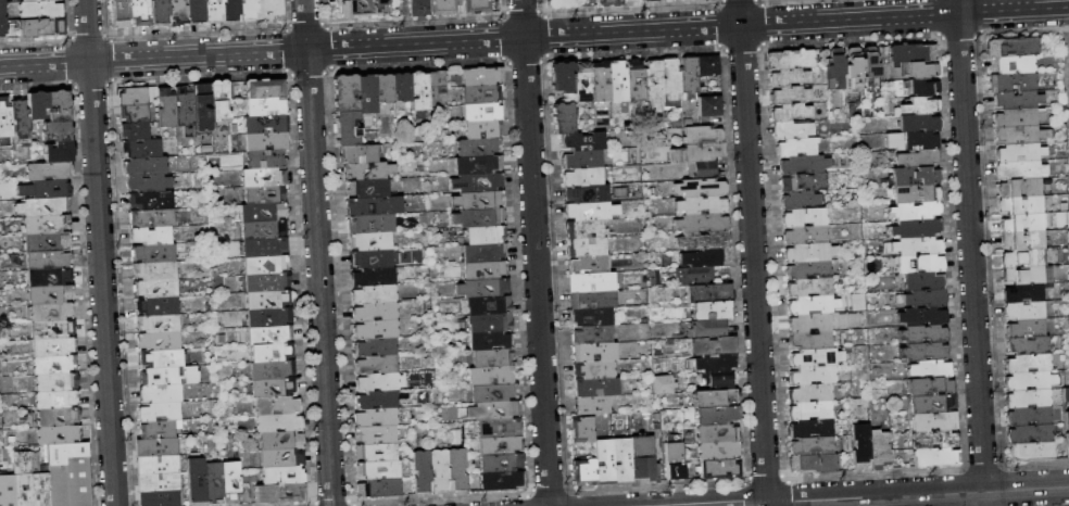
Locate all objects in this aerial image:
building: (39, 0)
building: (631, 0)
building: (687, 0)
building: (651, 1)
building: (705, 1)
road: (739, 1)
road: (758, 1)
road: (778, 1)
building: (608, 2)
road: (718, 2)
building: (559, 4)
building: (478, 7)
road: (956, 7)
building: (271, 8)
building: (363, 8)
building: (419, 8)
building: (443, 8)
road: (630, 9)
building: (40, 10)
road: (1013, 10)
building: (214, 11)
building: (232, 11)
building: (250, 11)
building: (162, 12)
building: (198, 12)
road: (521, 12)
road: (541, 12)
building: (141, 13)
building: (179, 13)
road: (501, 13)
building: (122, 14)
road: (979, 15)
road: (936, 16)
building: (3, 18)
road: (403, 21)
road: (413, 21)
road: (762, 23)
road: (304, 25)
road: (324, 26)
road: (719, 26)
road: (284, 27)
building: (42, 28)
road: (196, 34)
road: (939, 35)
road: (979, 35)
road: (544, 36)
road: (958, 36)
road: (1067, 36)
road: (87, 38)
road: (106, 38)
road: (502, 38)
road: (66, 39)
road: (478, 39)
road: (850, 39)
road: (33, 42)
road: (760, 46)
road: (328, 48)
road: (721, 48)
road: (741, 48)
building: (1014, 48)
road: (285, 51)
road: (633, 52)
building: (913, 53)
road: (544, 59)
building: (791, 60)
road: (110, 61)
road: (504, 61)
road: (525, 61)
building: (871, 62)
road: (67, 63)
road: (416, 64)
building: (1013, 65)
building: (708, 66)
building: (837, 67)
road: (327, 71)
building: (922, 71)
road: (306, 72)
building: (854, 72)
road: (287, 73)
building: (483, 76)
road: (199, 77)
building: (562, 77)
building: (689, 77)
building: (789, 77)
building: (602, 81)
building: (618, 81)
building: (636, 81)
road: (110, 83)
building: (671, 83)
building: (1014, 83)
road: (70, 85)
road: (89, 85)
building: (654, 85)
road: (34, 86)
building: (584, 86)
building: (402, 87)
building: (385, 88)
building: (922, 88)
building: (265, 89)
building: (437, 89)
building: (419, 91)
building: (345, 93)
building: (367, 94)
building: (482, 94)
building: (790, 96)
building: (134, 97)
building: (1018, 100)
building: (219, 103)
building: (39, 105)
building: (921, 105)
building: (60, 106)
building: (167, 106)
building: (710, 106)
building: (202, 107)
building: (267, 107)
building: (186, 109)
building: (483, 113)
building: (791, 113)
building: (135, 114)
building: (564, 118)
building: (1019, 118)
building: (5, 123)
building: (920, 123)
building: (21, 125)
building: (267, 125)
building: (348, 129)
building: (483, 130)
building: (793, 130)
building: (59, 131)
building: (136, 131)
building: (703, 135)
building: (1021, 135)
building: (268, 141)
building: (913, 141)
building: (583, 142)
building: (479, 148)
building: (797, 148)
building: (142, 149)
building: (59, 152)
building: (699, 153)
building: (1021, 153)
building: (360, 154)
building: (918, 159)
building: (266, 160)
building: (583, 160)
building: (805, 165)
building: (146, 166)
building: (475, 166)
building: (368, 170)
building: (704, 170)
building: (1021, 170)
building: (49, 172)
building: (916, 176)
building: (584, 177)
building: (263, 178)
building: (805, 182)
building: (149, 184)
building: (479, 184)
building: (701, 188)
building: (1020, 188)
building: (368, 189)
building: (47, 190)
building: (587, 194)
building: (916, 194)
building: (265, 195)
building: (801, 200)
building: (479, 201)
building: (152, 202)
building: (1022, 205)
building: (45, 206)
building: (375, 206)
building: (702, 206)
building: (591, 212)
building: (916, 212)
building: (264, 213)
building: (804, 217)
building: (480, 218)
building: (153, 219)
building: (703, 223)
building: (47, 224)
building: (1023, 224)
building: (370, 225)
building: (916, 228)
building: (586, 229)
building: (264, 230)
building: (487, 236)
building: (805, 236)
building: (152, 237)
building: (1023, 240)
building: (49, 241)
building: (370, 241)
building: (704, 241)
building: (918, 246)
building: (264, 248)
building: (587, 248)
road: (317, 252)
road: (534, 252)
road: (753, 252)
road: (99, 253)
building: (485, 253)
building: (810, 253)
building: (154, 254)
building: (1023, 257)
building: (372, 258)
building: (703, 258)
building: (50, 260)
road: (970, 260)
building: (921, 264)
building: (266, 265)
building: (589, 265)
building: (486, 270)
building: (809, 270)
building: (155, 271)
building: (1029, 275)
building: (695, 276)
building: (51, 277)
building: (374, 277)
building: (925, 281)
building: (267, 282)
building: (591, 282)
building: (810, 288)
building: (155, 289)
building: (483, 289)
building: (710, 293)
building: (1024, 293)
building: (52, 294)
building: (375, 295)
building: (926, 299)
building: (268, 300)
building: (592, 300)
building: (490, 305)
building: (814, 305)
building: (158, 306)
building: (713, 311)
building: (1026, 311)
building: (51, 312)
building: (376, 313)
building: (592, 317)
building: (922, 317)
building: (269, 318)
building: (845, 320)
building: (812, 322)
building: (159, 324)
building: (490, 324)
building: (708, 329)
building: (1027, 329)
building: (53, 330)
building: (377, 330)
building: (923, 334)
building: (269, 336)
building: (592, 336)
building: (160, 341)
building: (490, 341)
building: (813, 341)
building: (714, 346)
building: (1029, 346)
building: (55, 347)
building: (377, 347)
building: (594, 352)
building: (925, 352)
building: (272, 353)
building: (162, 358)
building: (493, 358)
building: (817, 358)
building: (716, 363)
building: (1030, 364)
building: (55, 365)
building: (377, 365)
building: (931, 369)
building: (273, 370)
building: (595, 370)
building: (169, 376)
building: (814, 376)
building: (492, 377)
building: (718, 381)
building: (1031, 381)
building: (56, 382)
building: (379, 382)
building: (661, 383)
building: (931, 387)
building: (598, 388)
building: (274, 389)
building: (161, 393)
building: (495, 393)
building: (812, 393)
building: (716, 399)
building: (1029, 399)
building: (56, 400)
building: (378, 400)
building: (932, 404)
building: (593, 405)
building: (277, 406)
building: (495, 410)
building: (812, 410)
building: (161, 412)
building: (718, 416)
building: (1030, 416)
building: (59, 417)
building: (377, 418)
building: (1067, 419)
building: (935, 421)
building: (279, 423)
building: (500, 428)
building: (161, 429)
building: (812, 429)
building: (583, 430)
building: (718, 433)
building: (1031, 433)
building: (60, 434)
building: (376, 434)
building: (934, 439)
building: (1068, 439)
building: (282, 440)
building: (502, 445)
building: (813, 446)
building: (862, 446)
building: (158, 447)
building: (643, 447)
building: (881, 450)
building: (719, 451)
building: (1032, 452)
building: (377, 453)
building: (935, 457)
building: (282, 458)
building: (676, 460)
building: (614, 461)
building: (502, 463)
building: (815, 464)
building: (159, 466)
building: (458, 469)
building: (645, 469)
building: (720, 469)
building: (378, 470)
building: (440, 470)
building: (423, 471)
building: (586, 472)
building: (70, 475)
building: (284, 477)
building: (197, 479)
building: (30, 481)
building: (232, 481)
building: (504, 481)
building: (159, 482)
building: (215, 483)
building: (380, 488)
building: (7, 491)
building: (280, 494)
road: (888, 495)
building: (161, 497)

